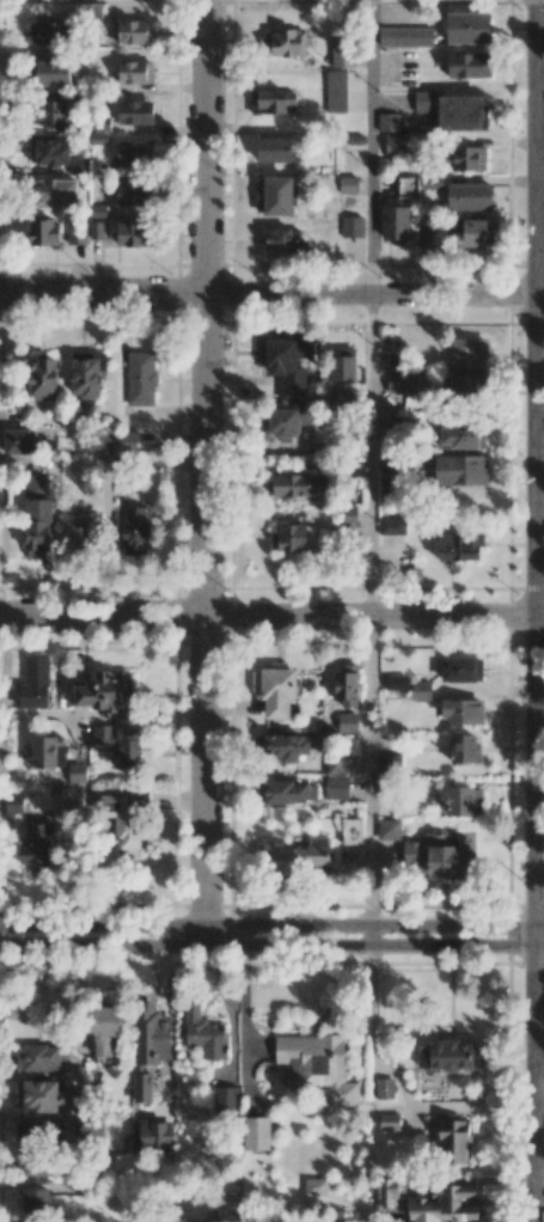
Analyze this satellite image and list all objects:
building: (469, 28)
building: (129, 31)
building: (49, 32)
building: (405, 36)
building: (287, 42)
building: (342, 51)
building: (469, 65)
building: (135, 72)
building: (336, 90)
building: (273, 100)
building: (423, 100)
building: (135, 111)
building: (463, 112)
building: (54, 114)
building: (389, 121)
building: (395, 143)
road: (371, 147)
building: (274, 148)
building: (48, 149)
building: (135, 152)
building: (469, 158)
building: (432, 182)
building: (348, 184)
building: (55, 191)
building: (134, 193)
building: (274, 195)
building: (470, 196)
building: (395, 222)
building: (352, 226)
building: (96, 230)
building: (427, 230)
building: (44, 232)
building: (472, 232)
building: (77, 233)
building: (134, 234)
building: (281, 239)
road: (271, 294)
building: (469, 353)
building: (286, 354)
building: (343, 368)
building: (86, 373)
building: (42, 377)
building: (140, 378)
building: (401, 383)
building: (462, 385)
building: (341, 398)
building: (307, 417)
building: (282, 421)
building: (462, 436)
building: (16, 440)
building: (117, 452)
road: (369, 454)
building: (460, 470)
road: (203, 471)
building: (292, 485)
building: (347, 517)
building: (392, 526)
building: (37, 527)
building: (136, 530)
building: (81, 532)
building: (293, 534)
building: (458, 546)
road: (537, 611)
road: (271, 616)
building: (463, 668)
building: (395, 682)
building: (35, 683)
building: (347, 685)
building: (275, 689)
building: (420, 690)
building: (106, 691)
building: (463, 711)
building: (348, 722)
building: (120, 743)
building: (282, 747)
building: (464, 749)
building: (44, 752)
building: (390, 763)
road: (539, 775)
road: (369, 781)
building: (336, 787)
building: (288, 792)
building: (462, 801)
building: (13, 804)
building: (122, 819)
building: (389, 829)
building: (352, 831)
building: (36, 845)
building: (319, 851)
building: (436, 856)
building: (286, 859)
road: (271, 925)
road: (271, 945)
road: (539, 961)
road: (246, 1014)
building: (105, 1031)
building: (204, 1033)
building: (148, 1046)
building: (450, 1055)
building: (37, 1057)
building: (317, 1065)
road: (401, 1083)
park: (539, 1084)
building: (384, 1088)
building: (37, 1095)
building: (225, 1100)
building: (389, 1120)
building: (36, 1132)
building: (257, 1132)
building: (154, 1135)
building: (453, 1139)
building: (38, 1165)
building: (314, 1186)
building: (386, 1191)
building: (36, 1202)
building: (445, 1204)

